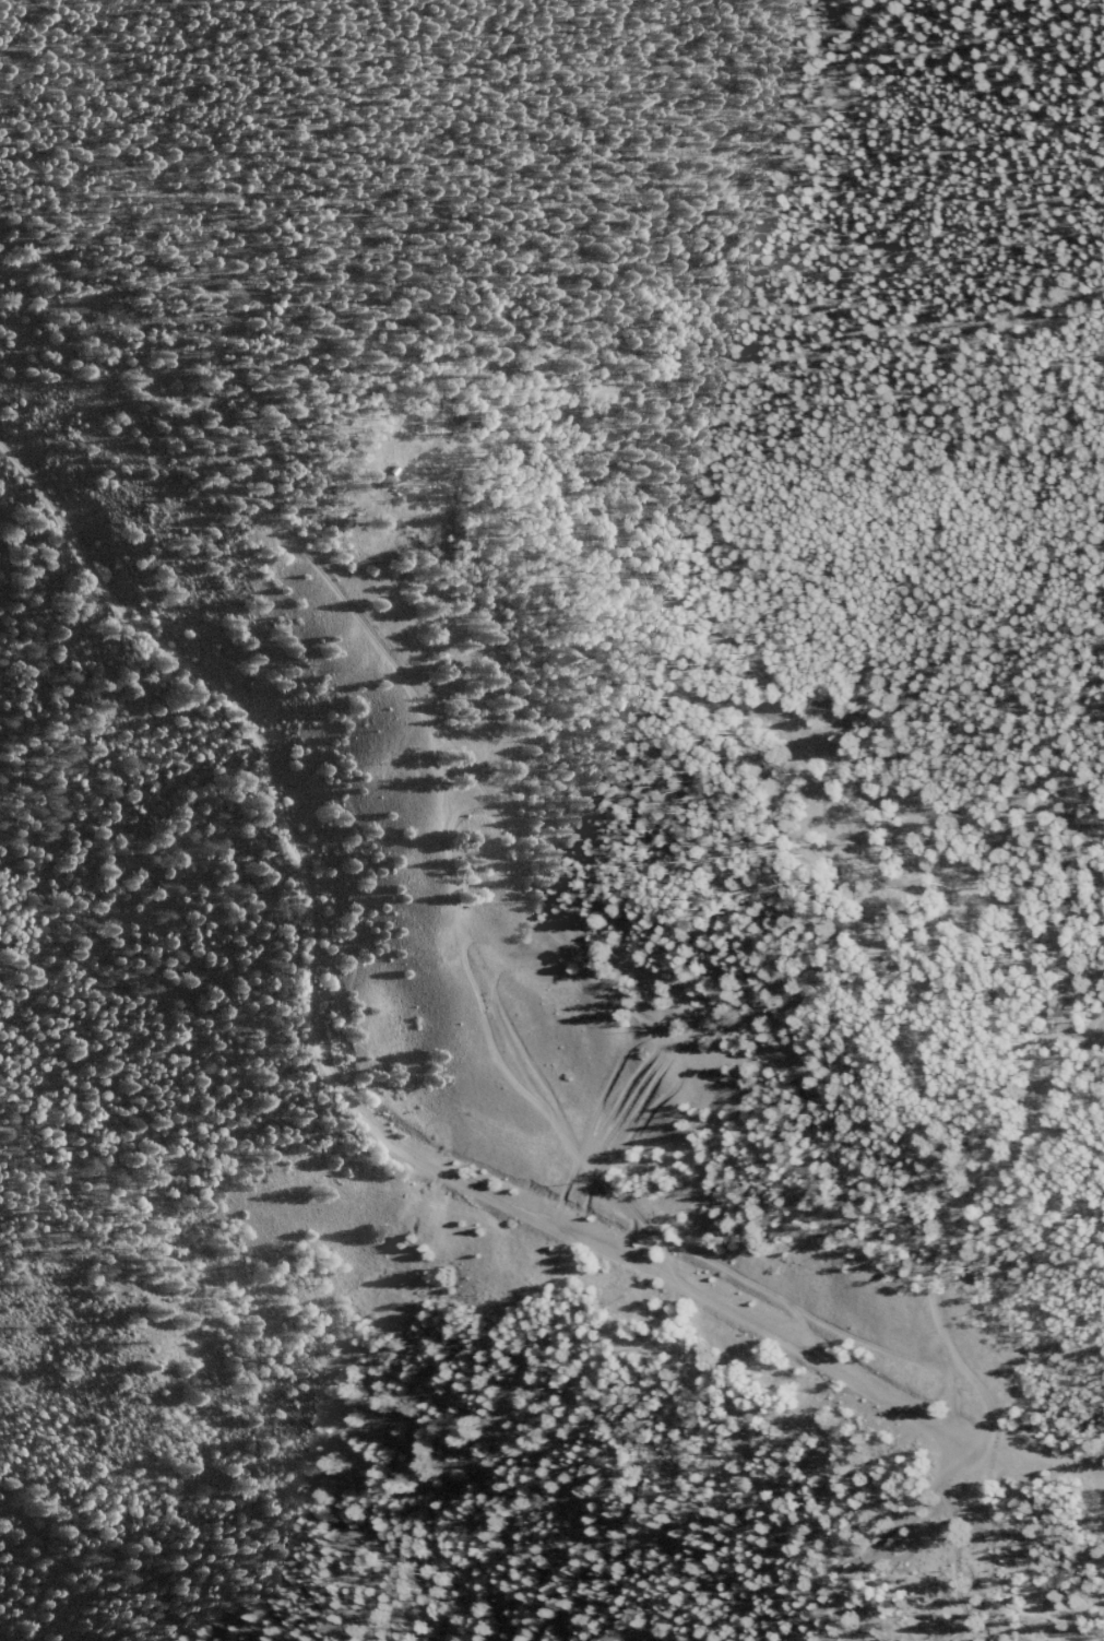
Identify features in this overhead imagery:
road: (586, 944)
road: (340, 1086)
road: (180, 1111)
road: (112, 1226)
road: (1007, 1268)
road: (1048, 1454)
road: (1102, 1508)
road: (877, 1580)

